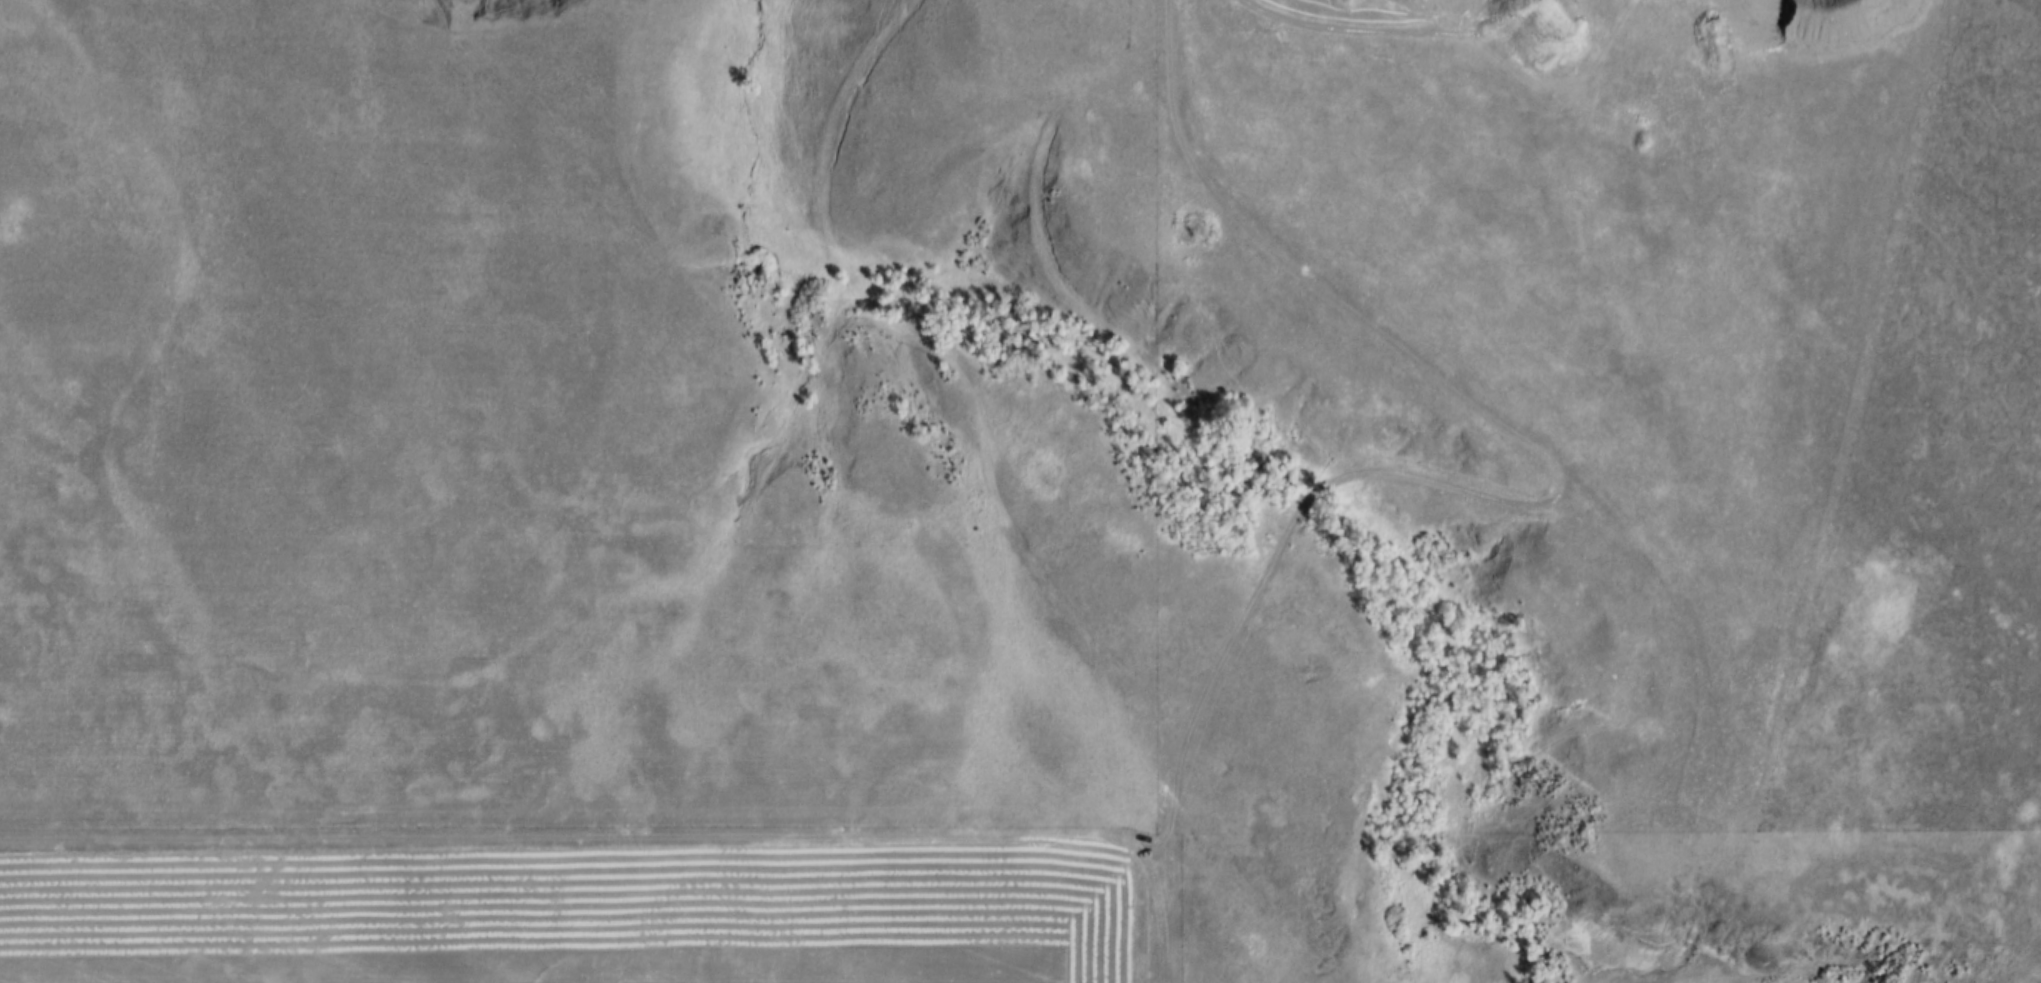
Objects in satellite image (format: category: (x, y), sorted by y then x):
quarry: (1653, 28)
road: (1464, 34)
road: (1564, 486)

